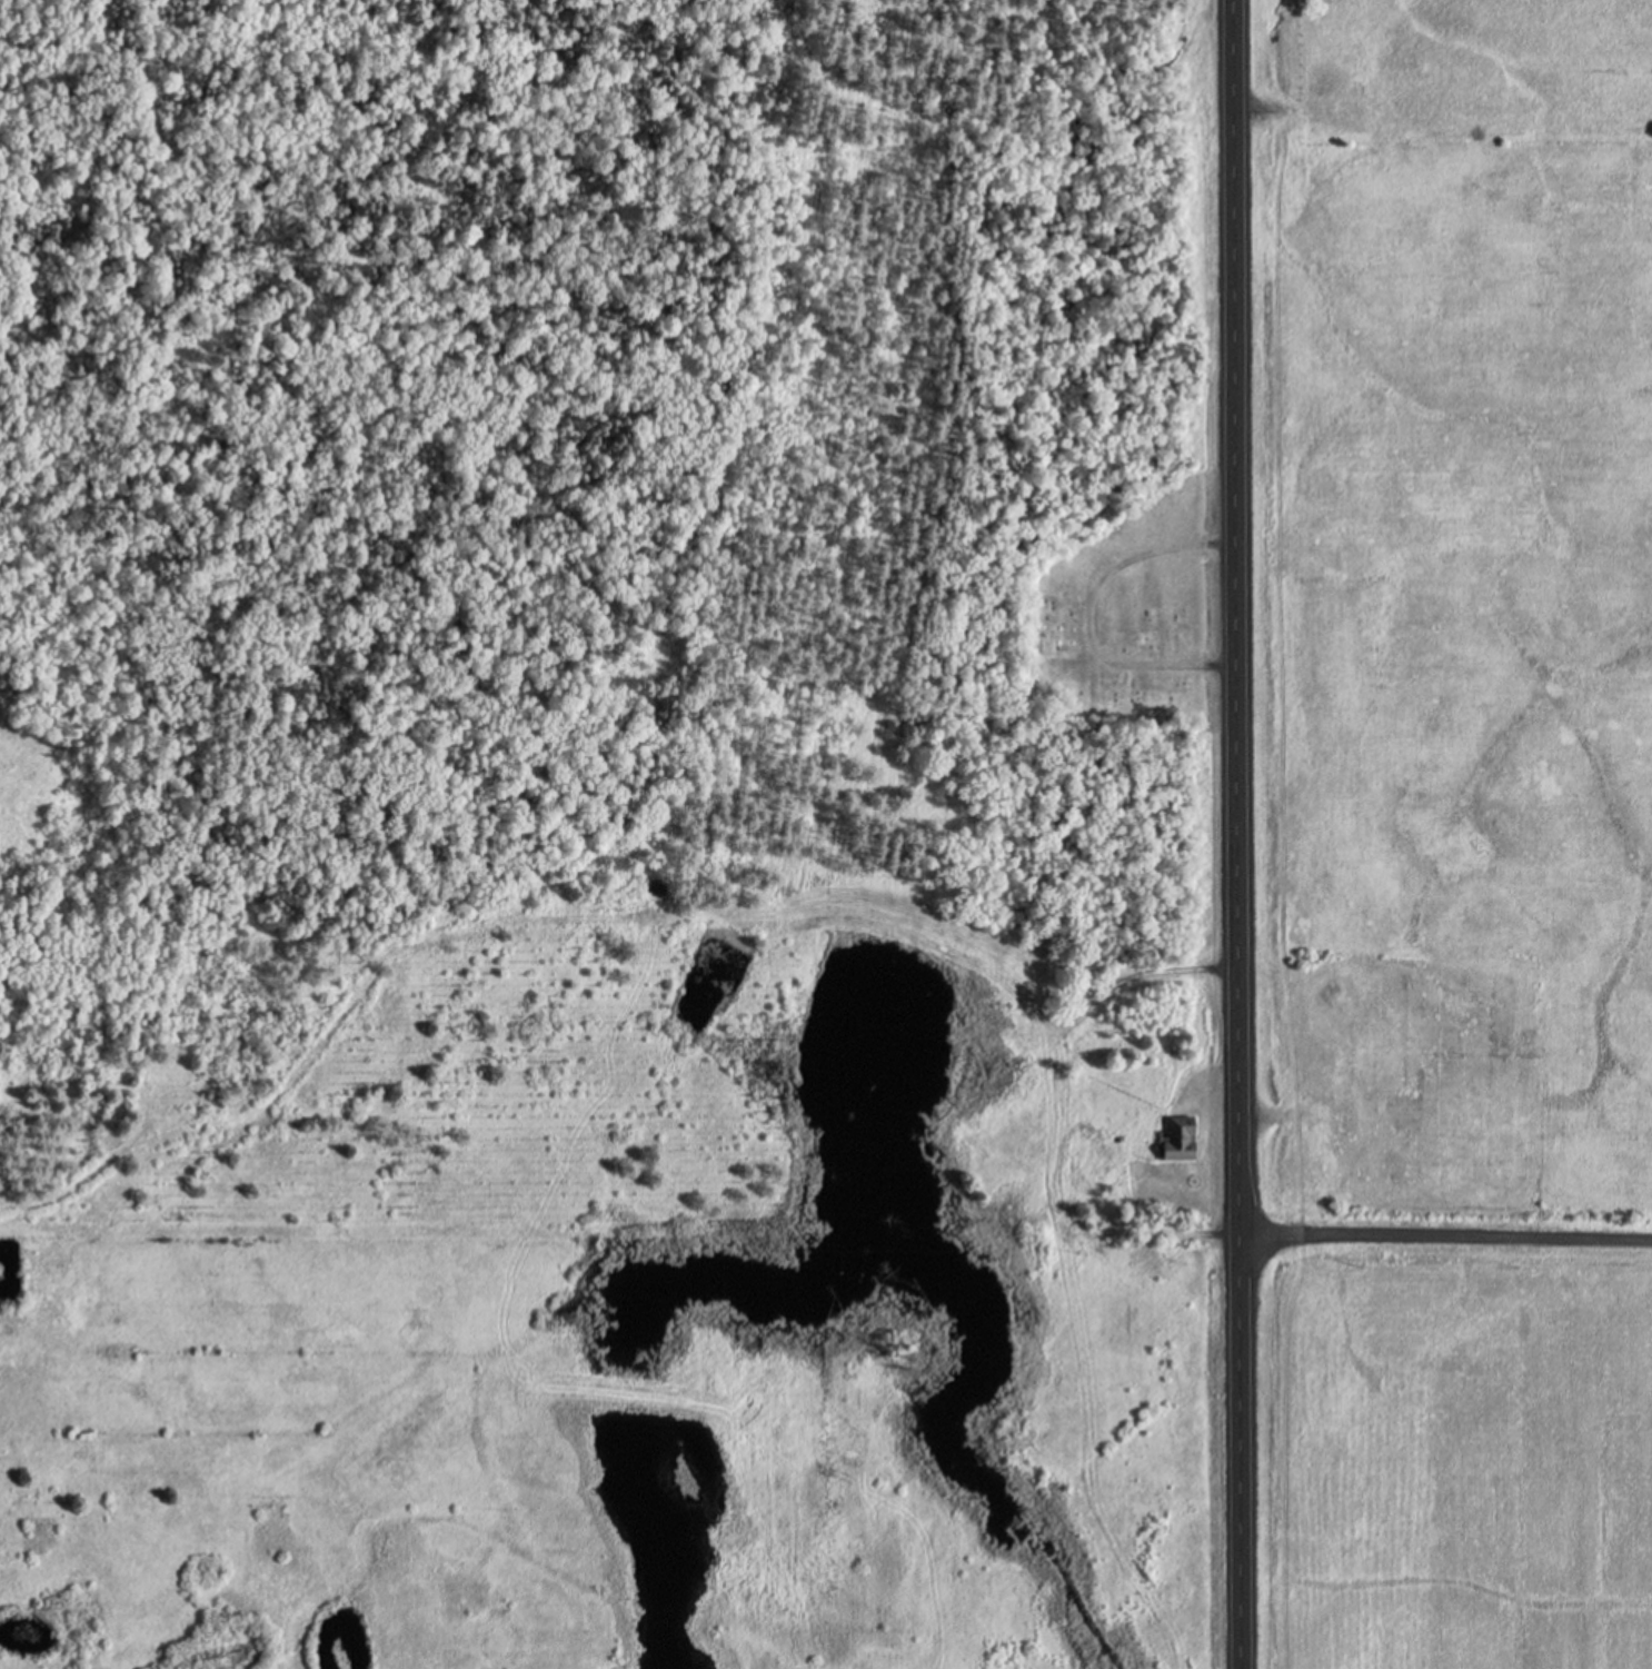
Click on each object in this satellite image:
park: (1074, 596)
road: (1236, 834)
building: (1178, 1141)
road: (1191, 1235)
road: (1445, 1239)

